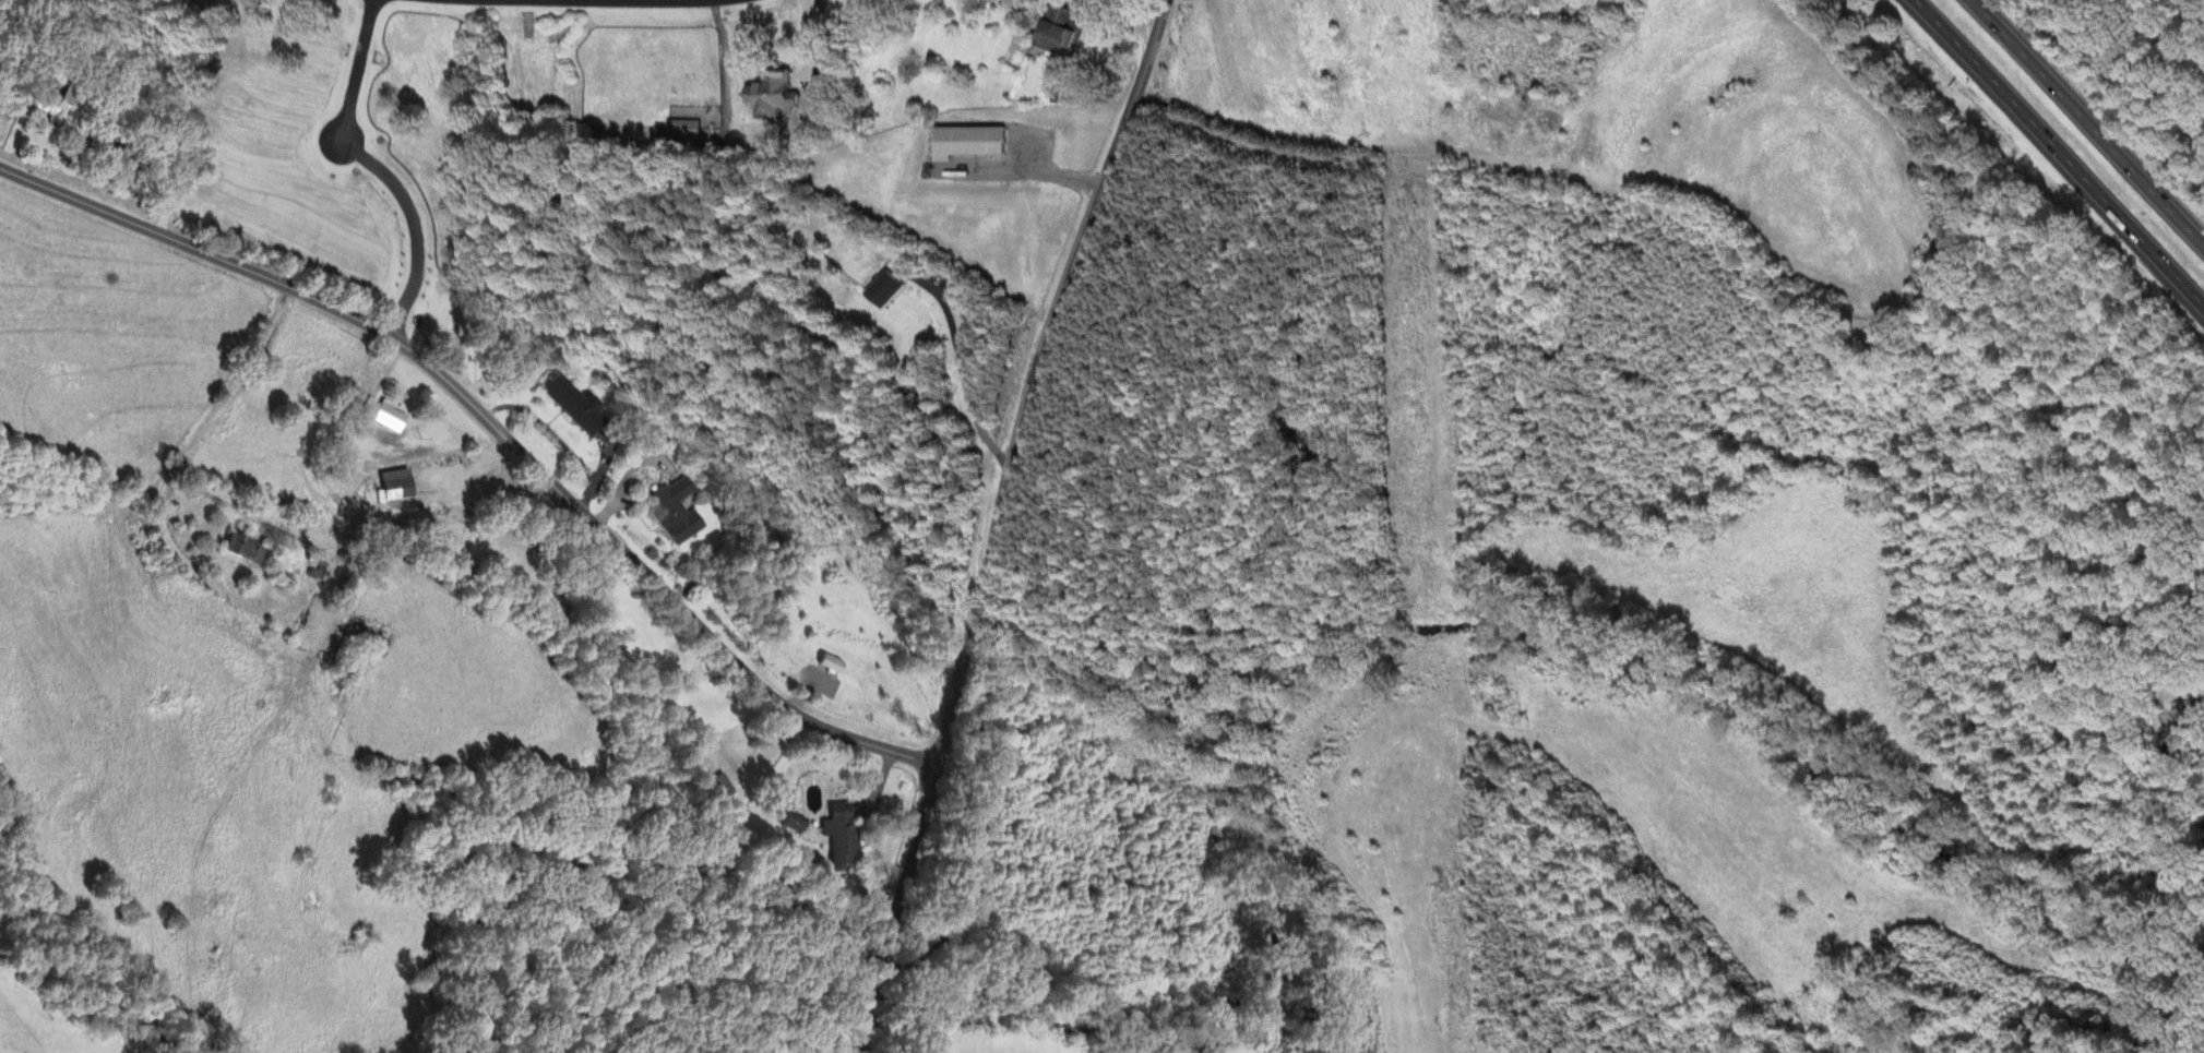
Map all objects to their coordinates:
road: (655, 1)
building: (1092, 5)
building: (1061, 37)
road: (352, 71)
building: (775, 96)
building: (677, 113)
building: (67, 115)
road: (2087, 121)
building: (687, 131)
building: (969, 143)
road: (104, 145)
road: (2052, 156)
road: (1023, 170)
road: (1536, 176)
road: (1594, 186)
road: (414, 224)
building: (886, 288)
park: (1878, 336)
road: (962, 364)
building: (573, 404)
building: (385, 412)
road: (209, 423)
road: (499, 427)
road: (557, 441)
building: (400, 484)
building: (674, 508)
road: (988, 518)
building: (242, 549)
building: (361, 635)
building: (834, 666)
building: (819, 673)
building: (727, 788)
building: (796, 824)
building: (843, 834)

